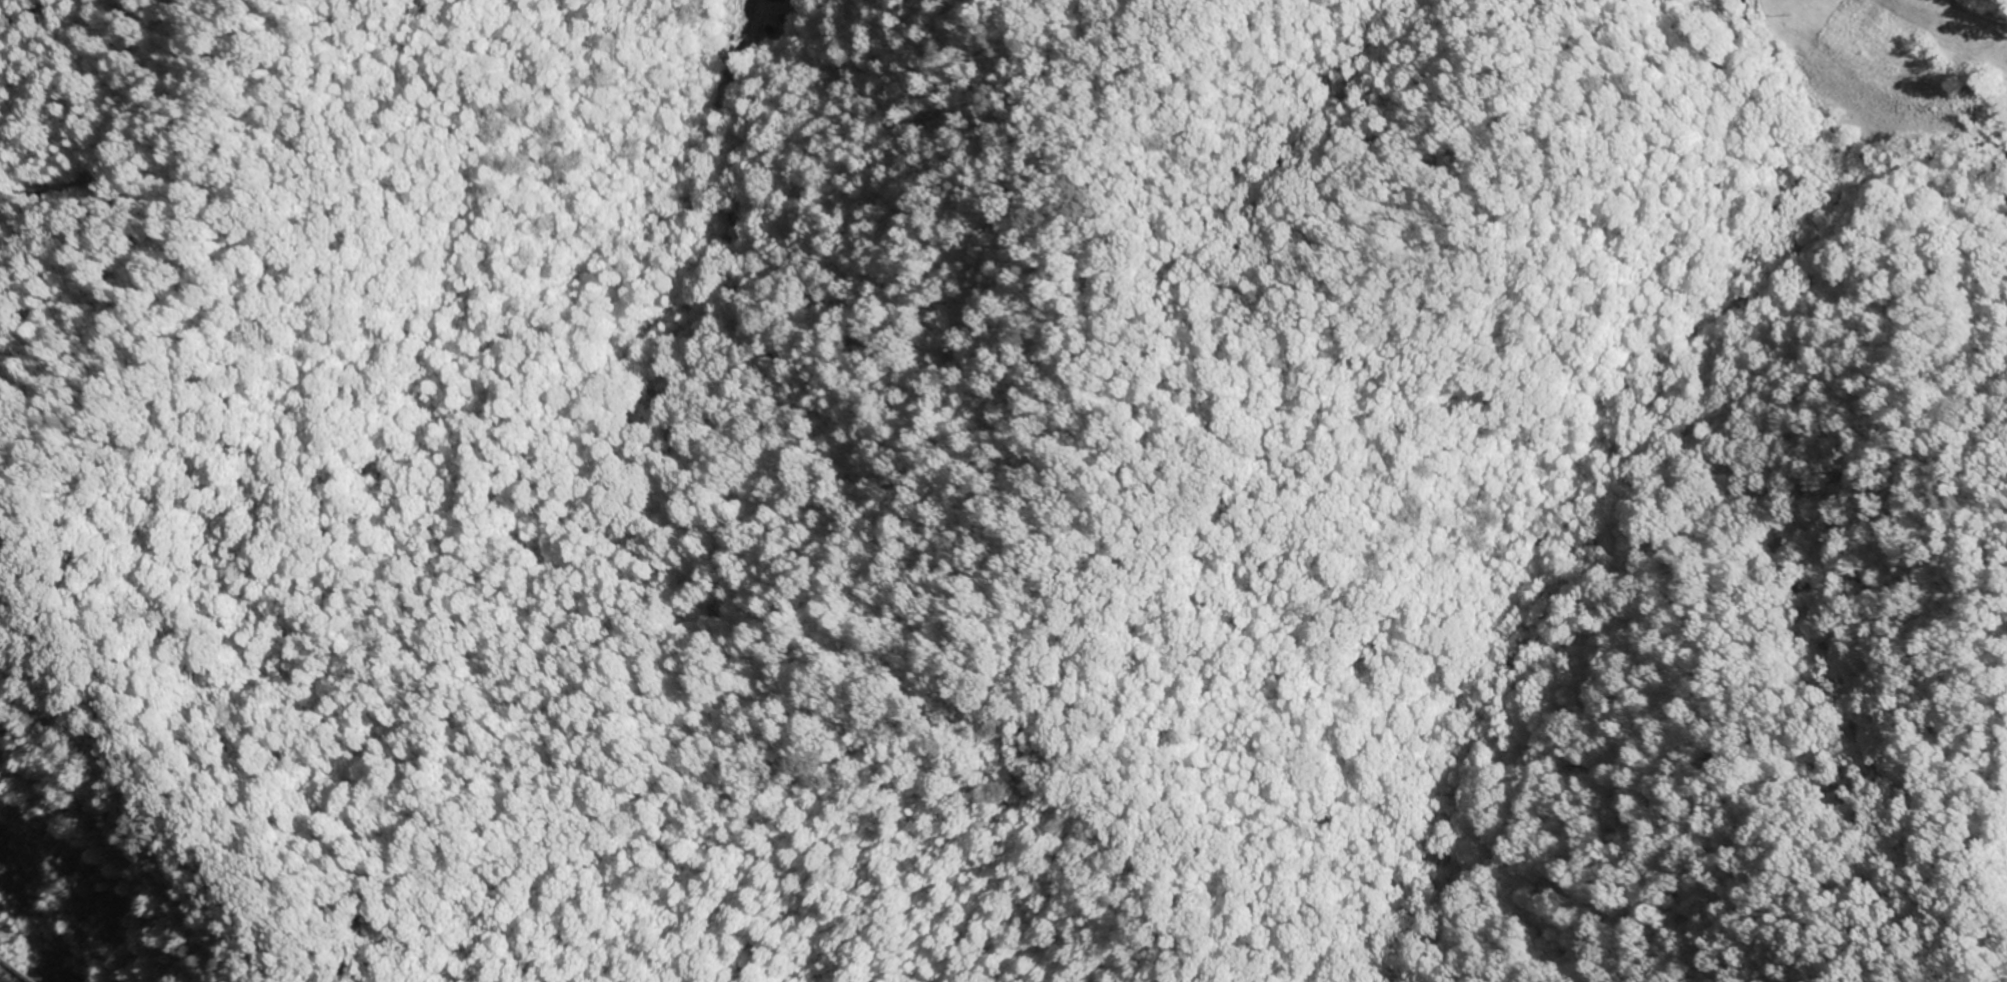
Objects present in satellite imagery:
road: (1997, 3)
road: (1781, 51)

